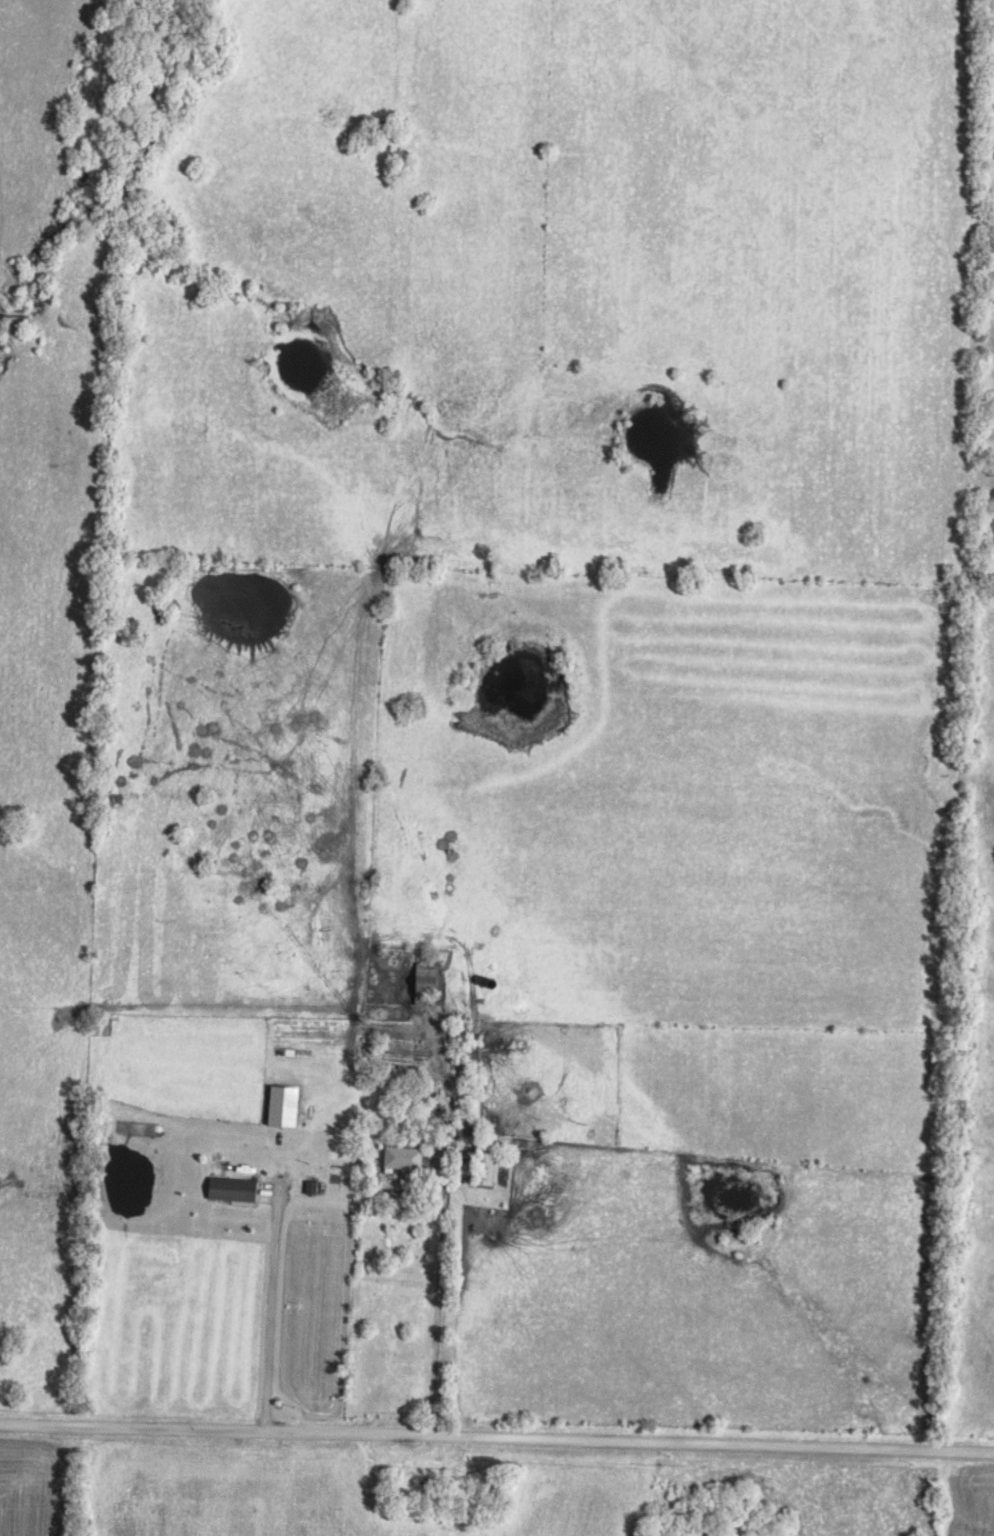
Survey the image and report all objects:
building: (423, 982)
building: (484, 983)
building: (398, 1158)
building: (480, 1169)
building: (227, 1189)
road: (436, 1308)
road: (271, 1312)
road: (497, 1439)

